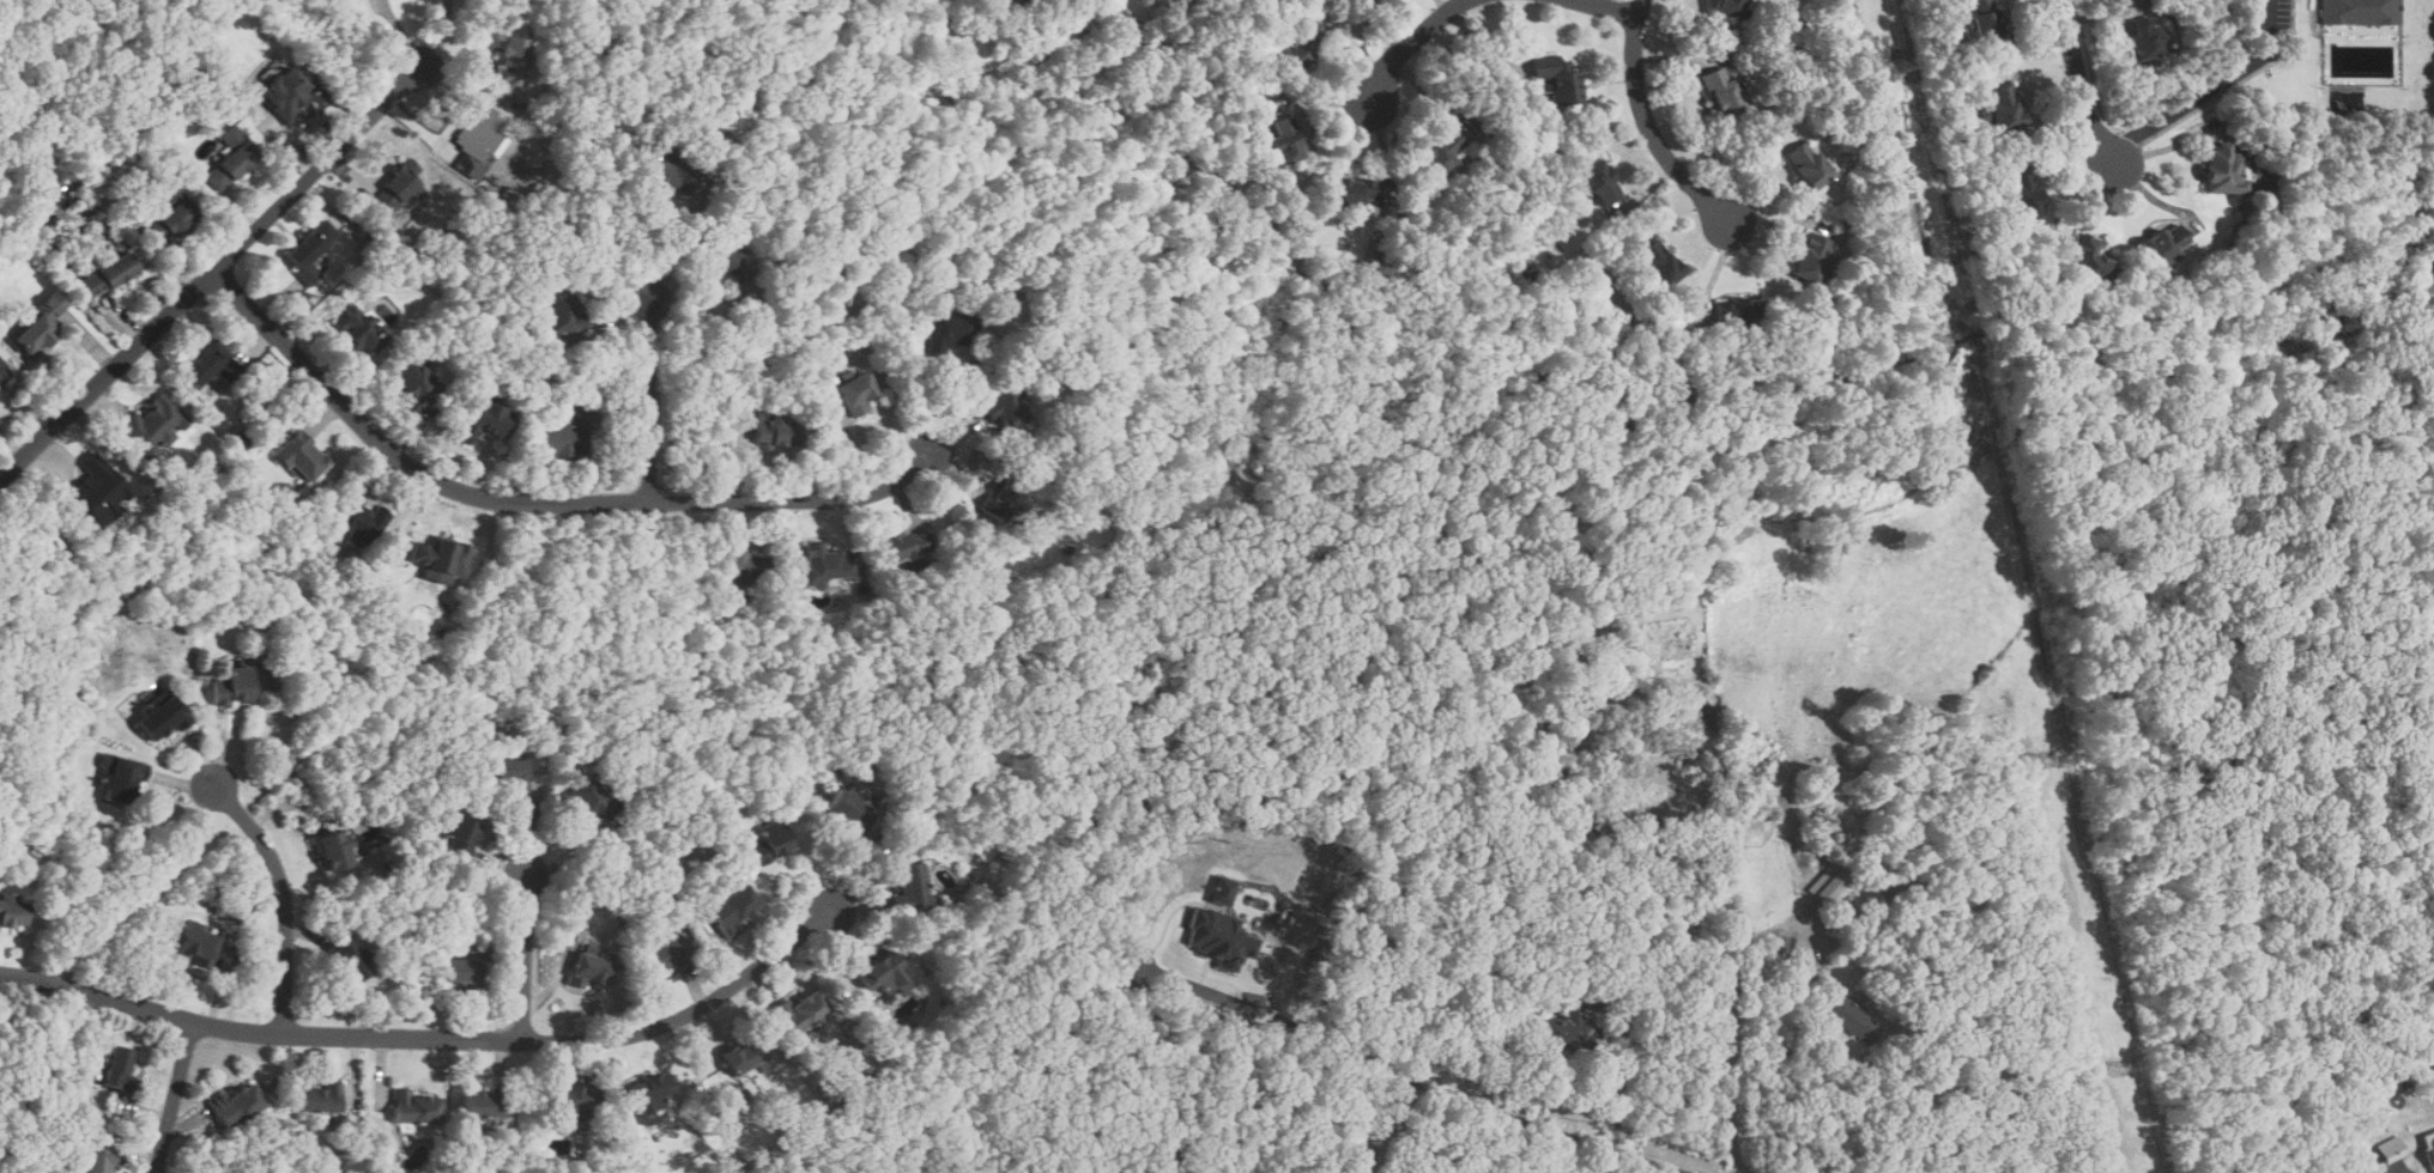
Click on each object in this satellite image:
building: (1356, 0)
building: (1361, 0)
road: (1612, 7)
building: (1727, 7)
building: (2361, 12)
building: (1984, 19)
road: (441, 35)
building: (2143, 39)
road: (1409, 44)
building: (1297, 47)
building: (511, 61)
power tower: (1890, 67)
building: (1556, 78)
road: (2081, 84)
building: (281, 89)
road: (2209, 89)
building: (1721, 92)
building: (2004, 108)
road: (1648, 124)
building: (479, 130)
building: (1284, 141)
building: (1440, 154)
building: (230, 159)
building: (1806, 165)
building: (2220, 169)
building: (671, 175)
building: (1600, 182)
building: (393, 190)
building: (1352, 193)
building: (2024, 195)
building: (168, 215)
building: (2161, 245)
road: (679, 248)
building: (308, 249)
building: (726, 260)
building: (1811, 260)
building: (2090, 260)
building: (1659, 263)
road: (211, 273)
building: (108, 275)
building: (1736, 312)
building: (563, 314)
building: (38, 327)
building: (358, 330)
building: (951, 333)
building: (208, 365)
building: (2, 370)
building: (413, 384)
building: (855, 393)
road: (650, 400)
building: (1005, 411)
building: (482, 423)
building: (151, 427)
building: (567, 433)
building: (773, 433)
road: (462, 449)
building: (301, 457)
building: (99, 487)
building: (1003, 499)
road: (537, 503)
building: (358, 521)
building: (903, 546)
building: (437, 559)
building: (744, 564)
building: (825, 565)
building: (231, 685)
building: (158, 717)
power tower: (2047, 759)
building: (502, 773)
building: (119, 778)
building: (589, 800)
building: (846, 810)
building: (459, 831)
building: (770, 840)
building: (332, 849)
building: (1830, 885)
building: (909, 886)
road: (285, 897)
building: (732, 908)
building: (11, 913)
building: (1218, 935)
building: (192, 941)
building: (666, 953)
road: (526, 958)
building: (347, 960)
building: (592, 966)
building: (461, 972)
building: (880, 972)
building: (800, 1010)
building: (1851, 1017)
building: (1569, 1031)
road: (434, 1037)
road: (1332, 1038)
road: (1731, 1039)
building: (740, 1055)
building: (115, 1065)
power tower: (2117, 1068)
road: (1617, 1084)
building: (649, 1090)
road: (1266, 1092)
building: (735, 1093)
road: (175, 1096)
building: (317, 1098)
building: (482, 1101)
building: (574, 1101)
building: (235, 1102)
building: (413, 1106)
road: (1527, 1120)
road: (1911, 1131)
building: (2429, 1145)
building: (2392, 1148)
building: (96, 1159)

